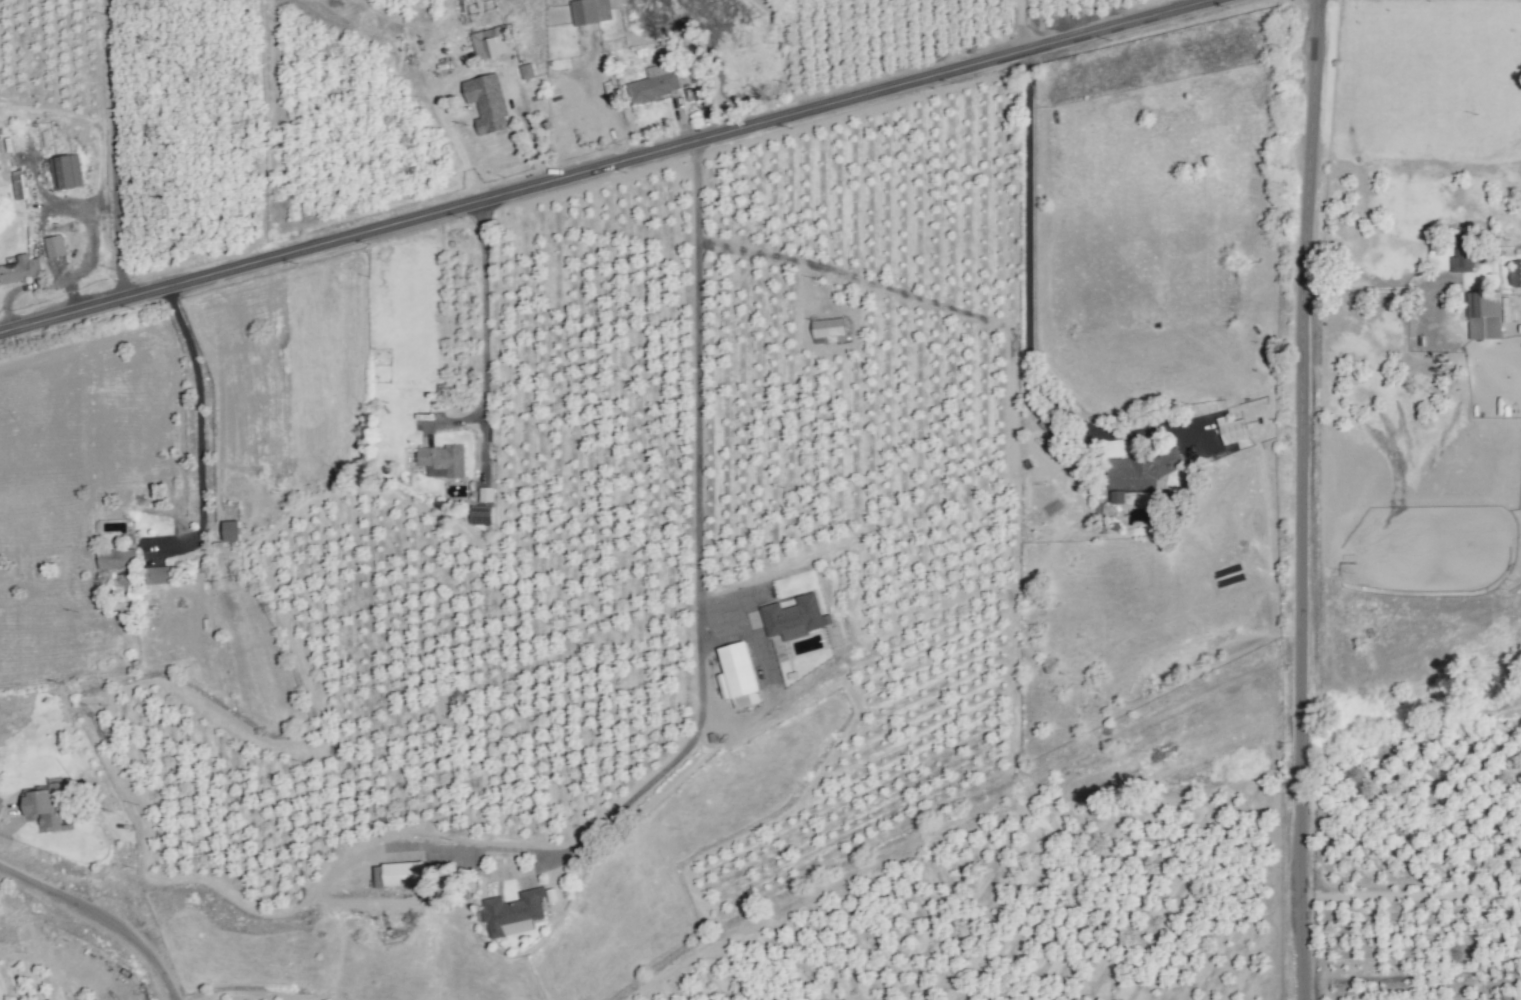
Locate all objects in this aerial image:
building: (590, 11)
road: (1022, 25)
building: (490, 43)
building: (527, 71)
building: (659, 83)
building: (487, 103)
road: (111, 153)
building: (3, 157)
road: (605, 170)
building: (65, 172)
building: (19, 185)
building: (54, 247)
building: (1462, 252)
building: (20, 269)
building: (1515, 273)
road: (1364, 292)
road: (1027, 304)
building: (1483, 316)
building: (829, 329)
road: (484, 336)
building: (1231, 430)
road: (197, 437)
building: (442, 461)
building: (1138, 473)
road: (1302, 499)
crop: (632, 517)
building: (230, 531)
building: (117, 559)
building: (159, 575)
road: (699, 575)
building: (793, 618)
building: (739, 675)
building: (44, 807)
building: (399, 874)
road: (330, 877)
building: (514, 913)
road: (99, 919)
crop: (27, 987)
road: (254, 994)
crop: (302, 998)

